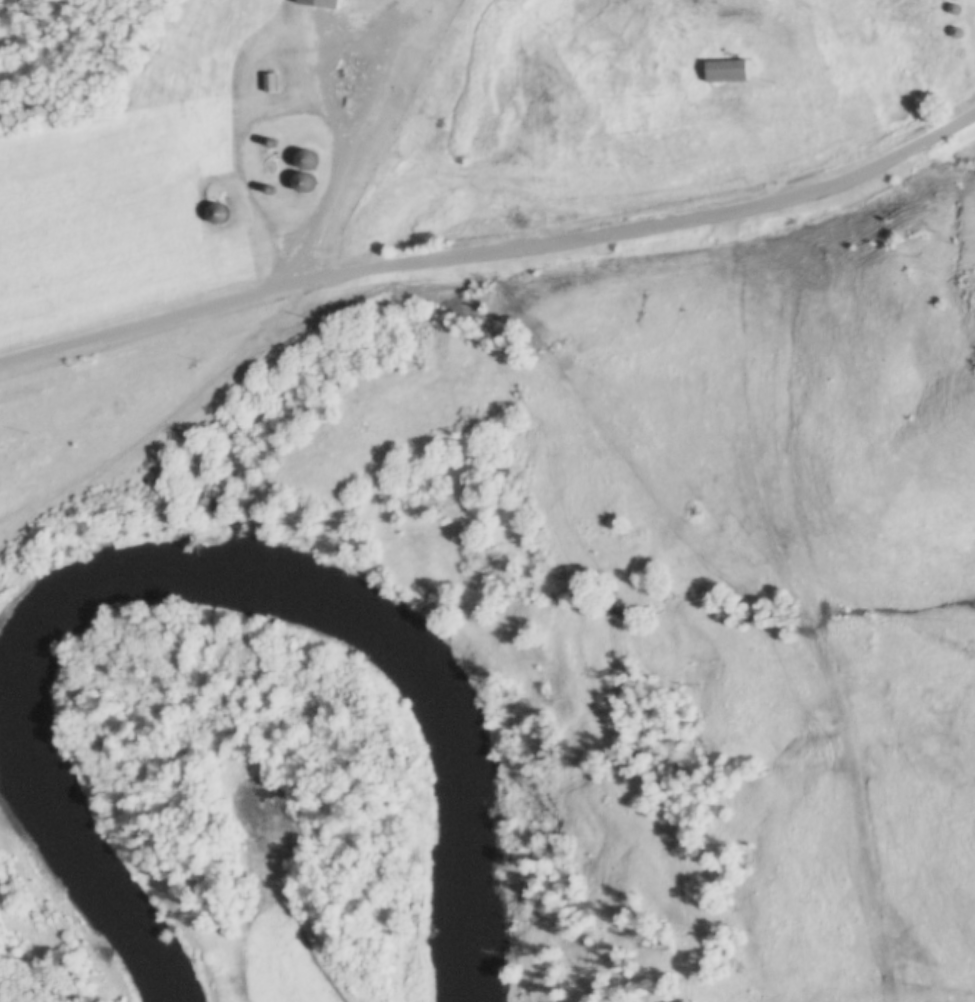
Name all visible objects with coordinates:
building: (323, 2)
building: (953, 8)
silo: (953, 8)
building: (425, 17)
building: (956, 31)
silo: (956, 31)
road: (288, 46)
building: (725, 69)
building: (274, 82)
storage tank: (398, 94)
building: (262, 143)
silo: (262, 143)
building: (274, 143)
silo: (274, 143)
building: (307, 159)
silo: (307, 159)
building: (306, 182)
silo: (306, 182)
building: (214, 189)
silo: (214, 189)
building: (271, 190)
silo: (271, 190)
building: (219, 212)
silo: (219, 212)
road: (492, 258)
river: (198, 586)

